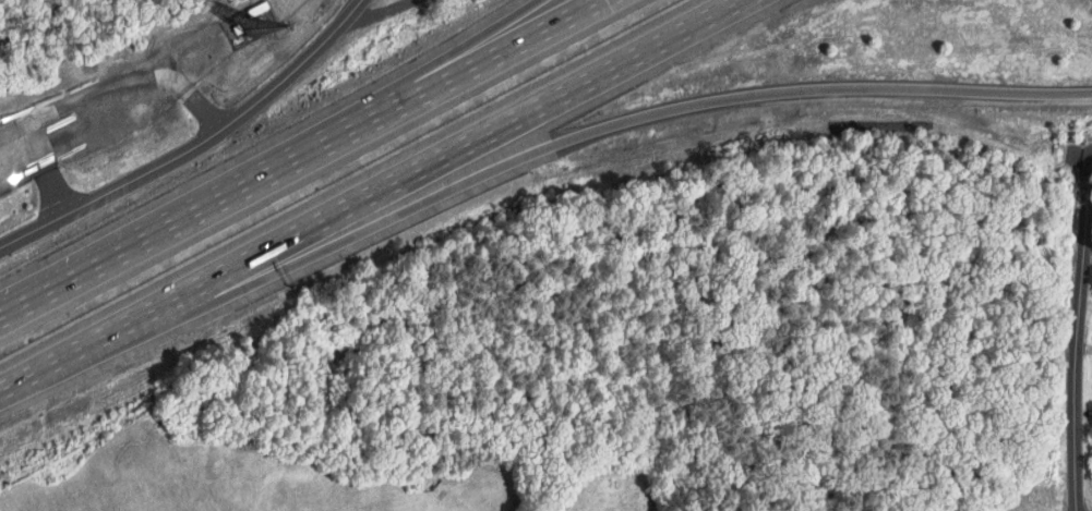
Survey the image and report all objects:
road: (435, 72)
road: (87, 90)
road: (1091, 92)
road: (191, 131)
road: (524, 157)
road: (299, 162)
road: (365, 193)
road: (1076, 329)

